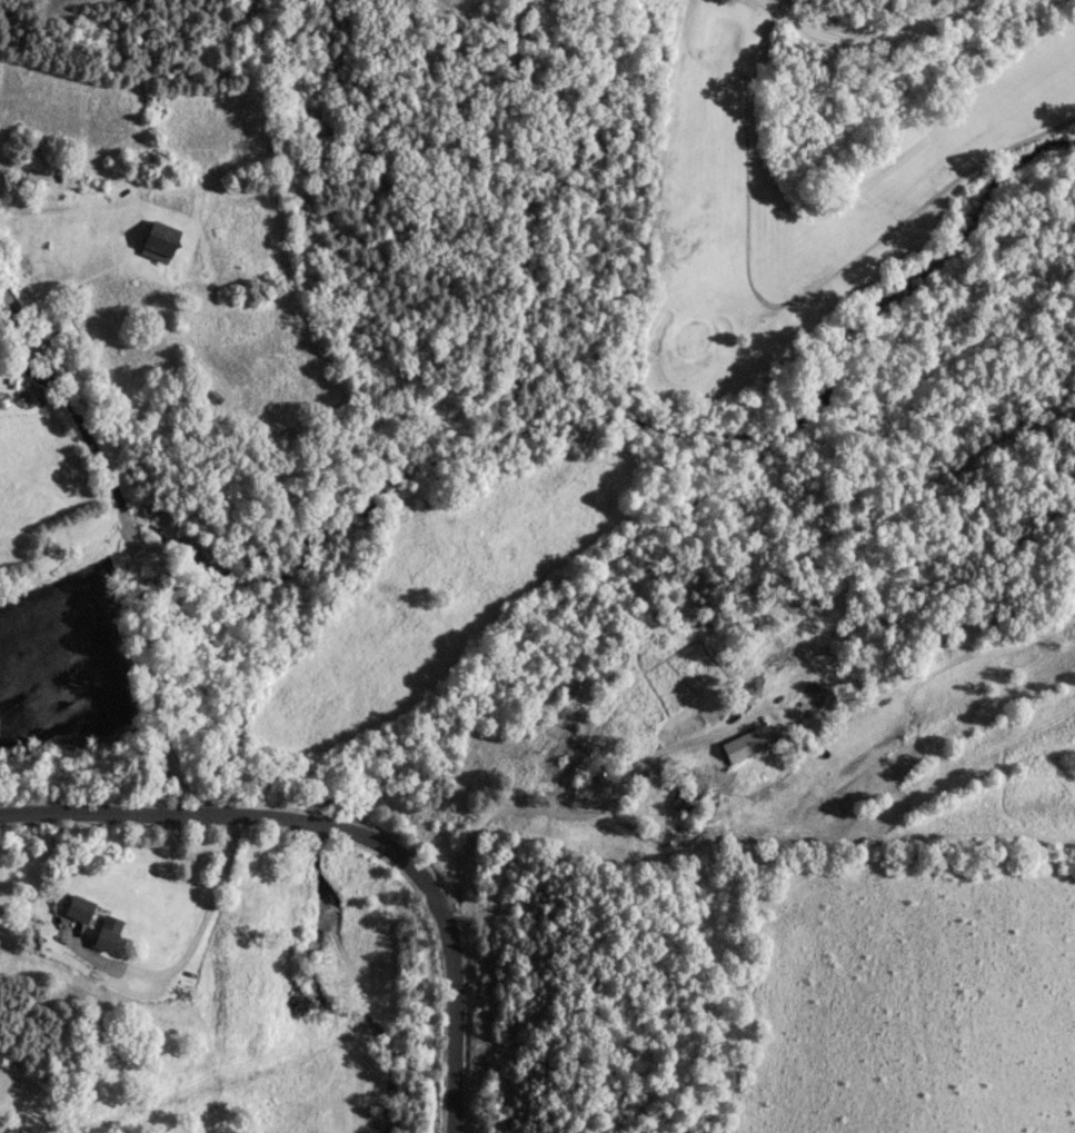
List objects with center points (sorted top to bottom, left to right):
building: (53, 8)
road: (865, 39)
building: (162, 238)
road: (36, 349)
road: (28, 374)
road: (137, 595)
building: (681, 797)
road: (564, 812)
road: (350, 832)
building: (79, 906)
building: (108, 931)
road: (193, 941)

